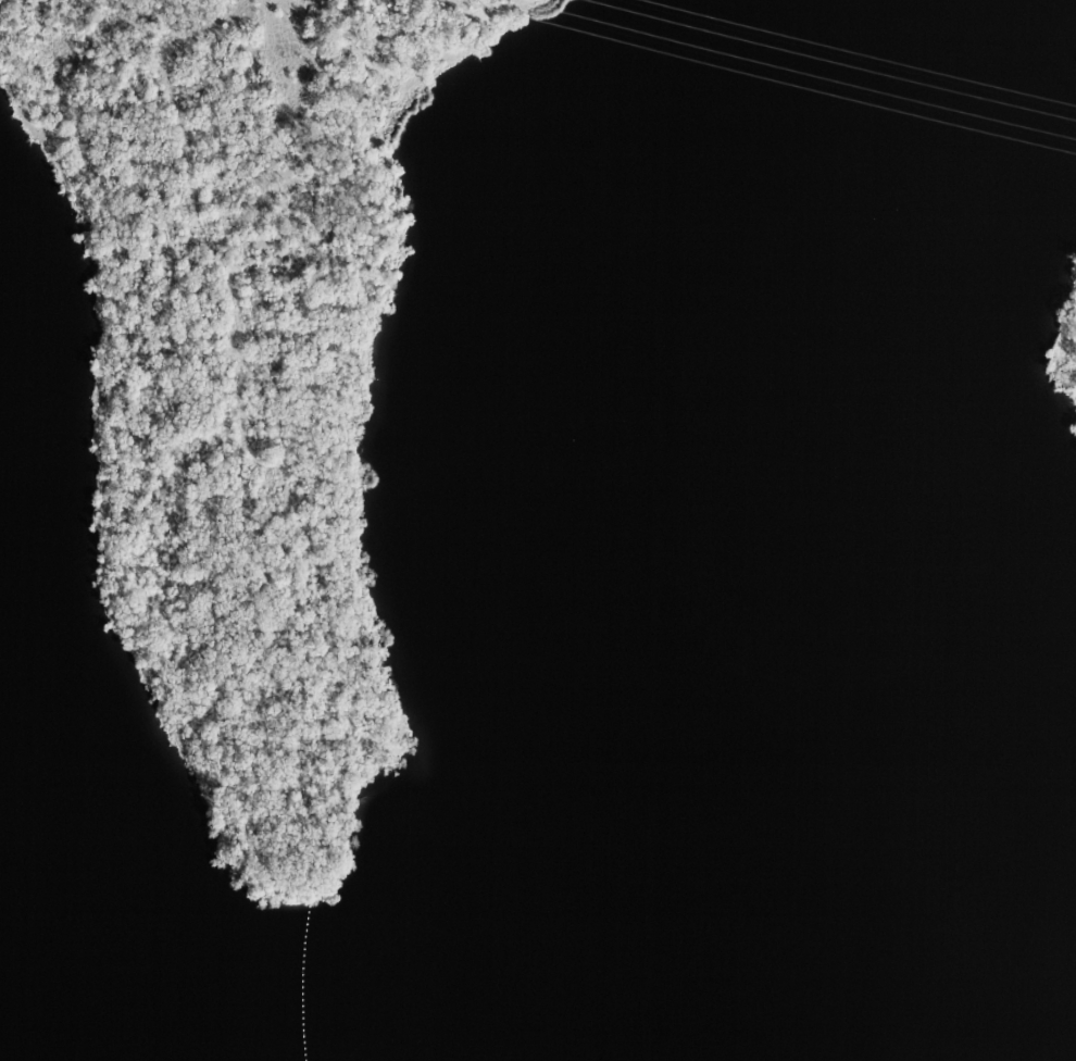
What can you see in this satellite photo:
power tower: (490, 7)

